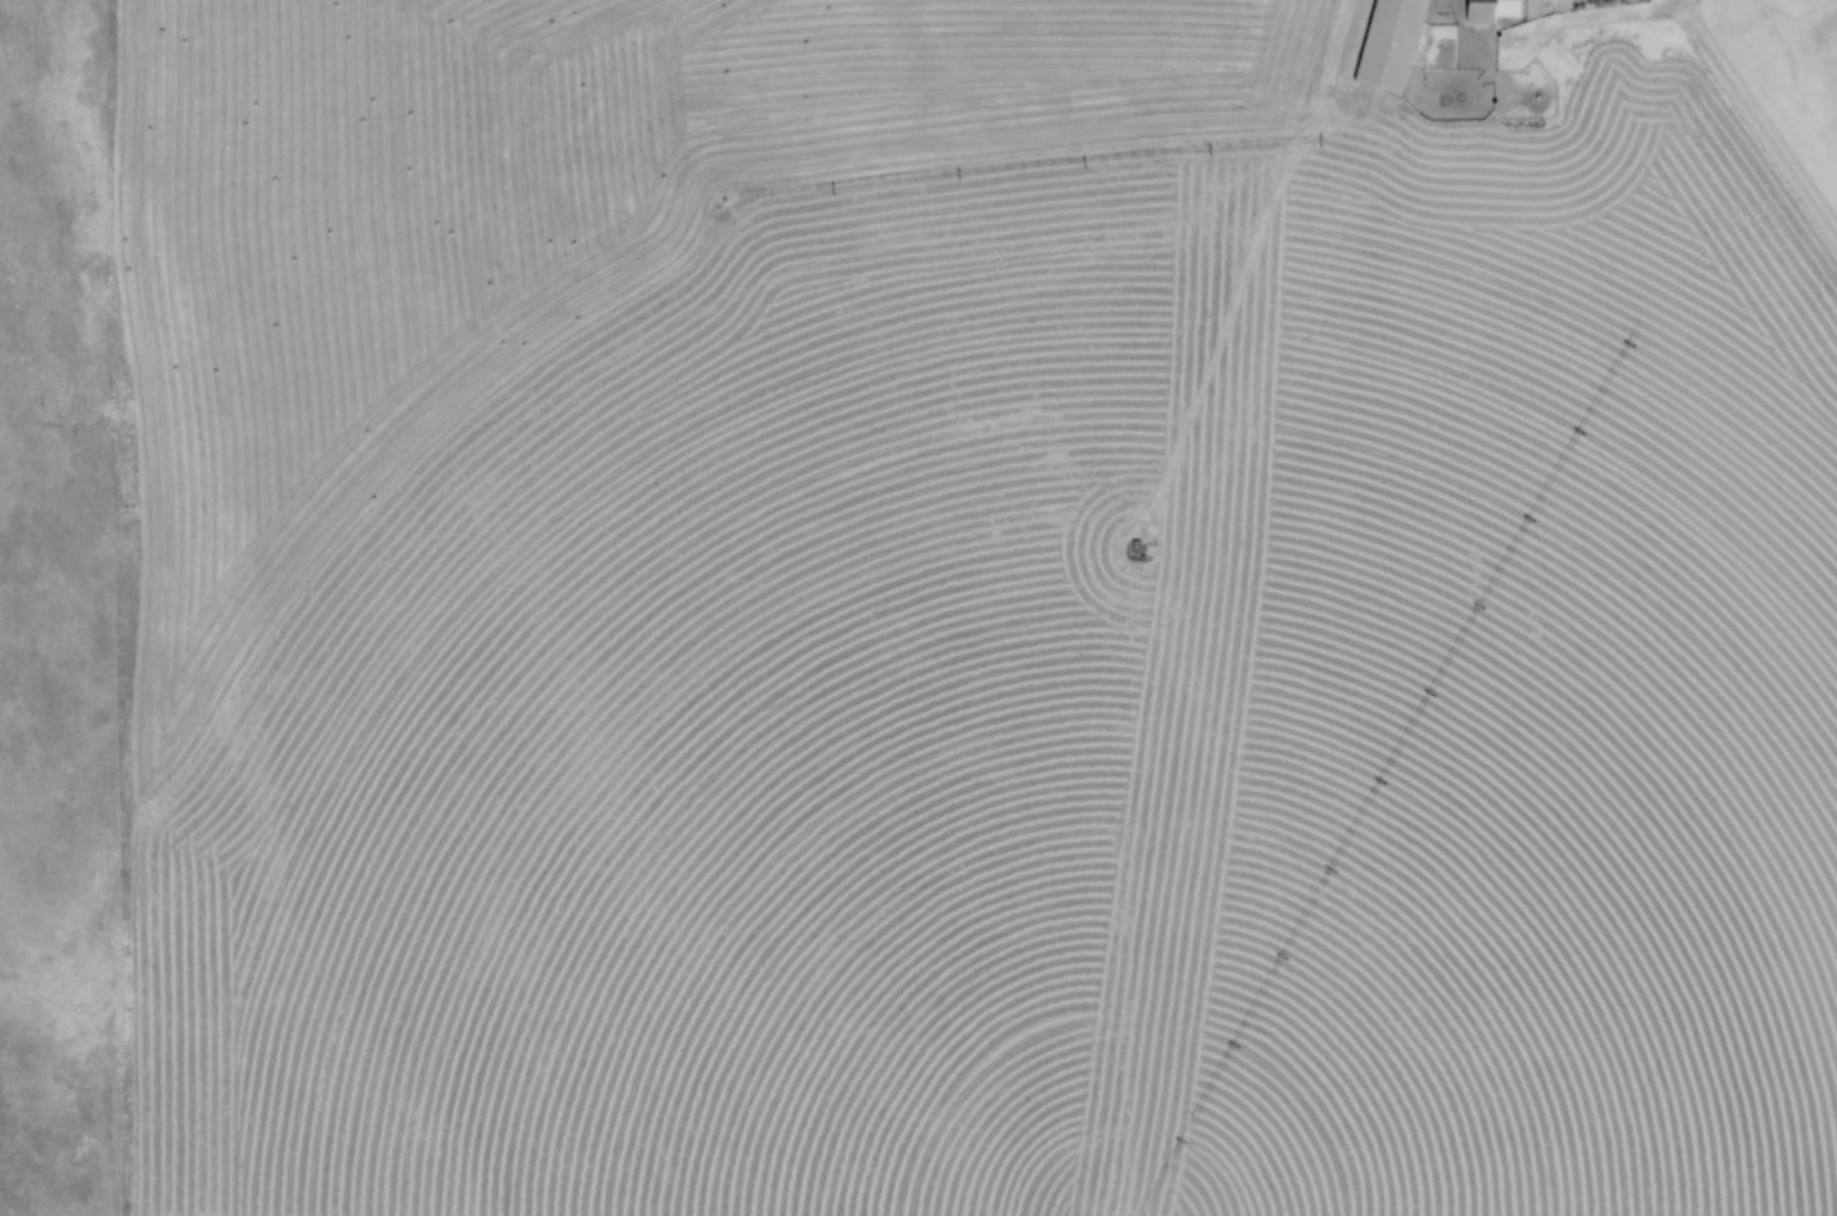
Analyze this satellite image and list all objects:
building: (1497, 10)
building: (1396, 44)

